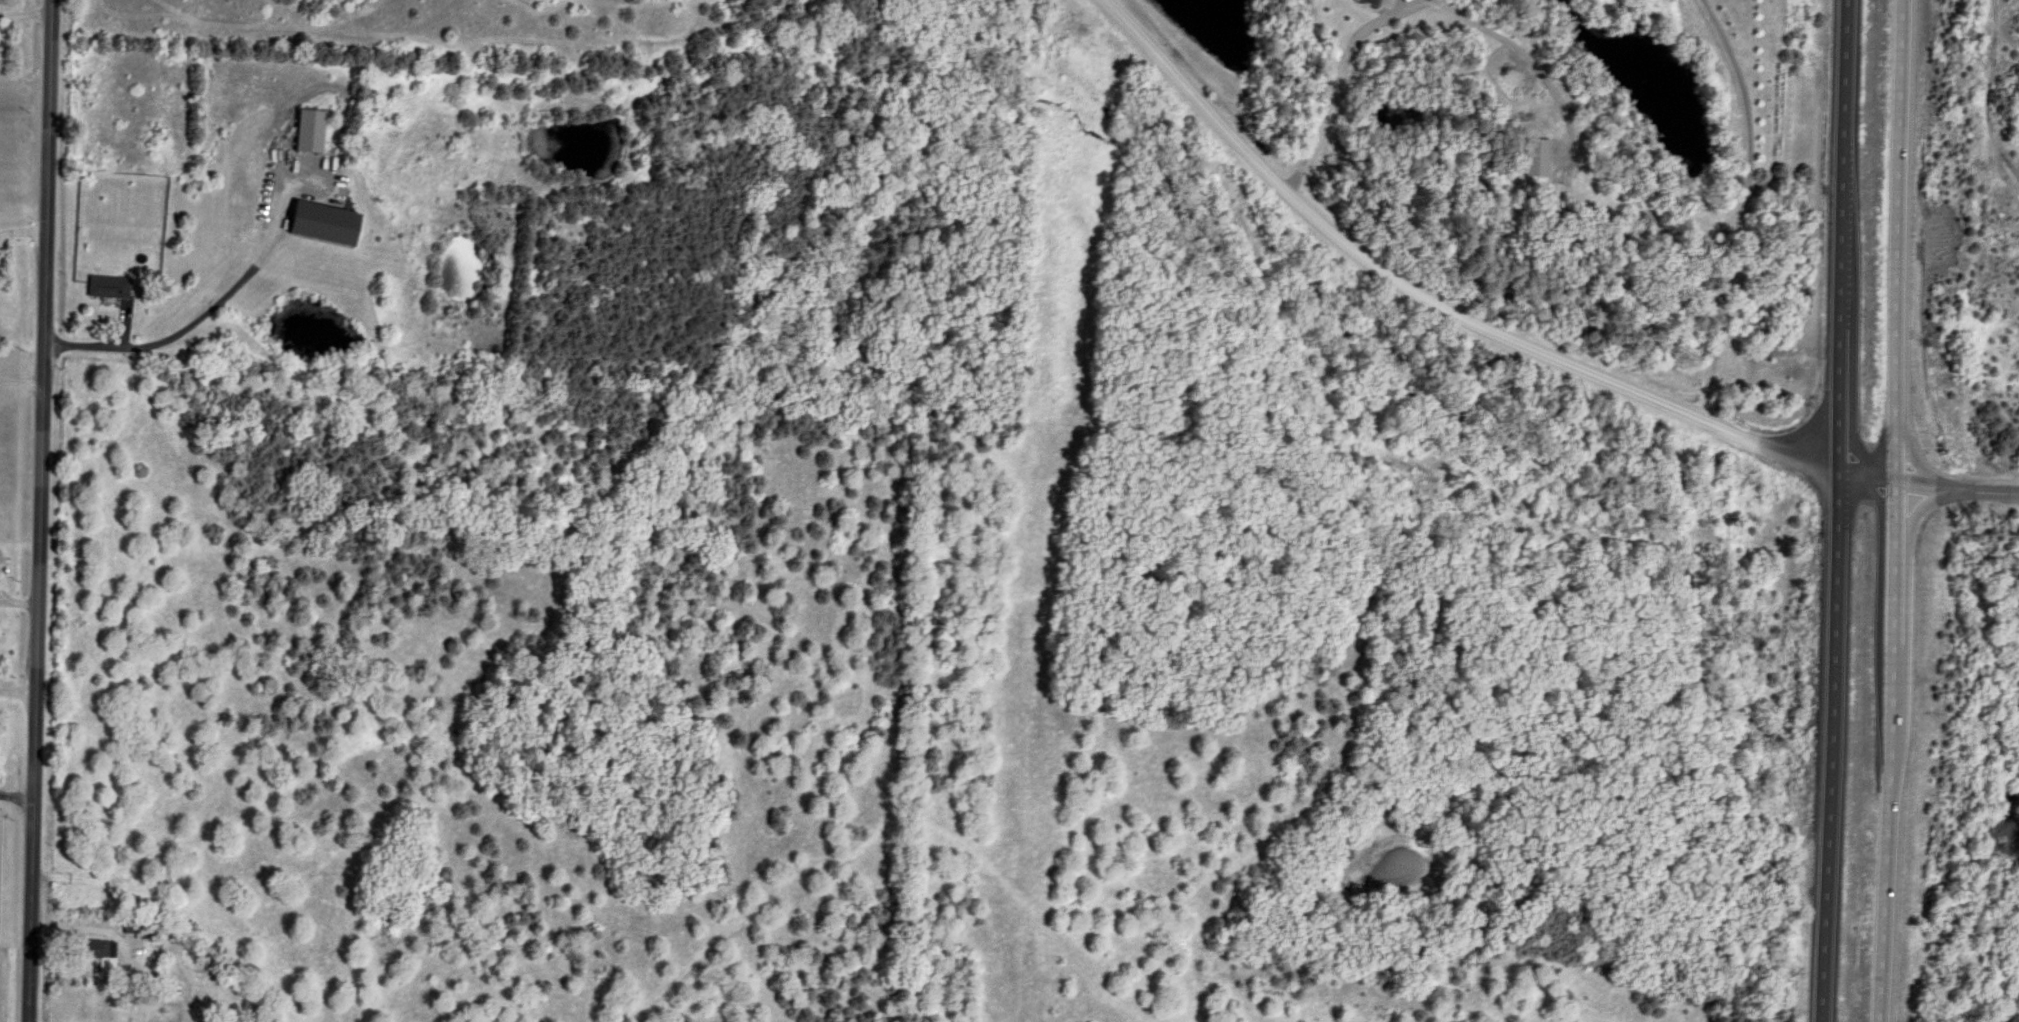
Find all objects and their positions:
road: (1334, 82)
road: (1736, 207)
building: (318, 224)
road: (20, 230)
park: (1987, 242)
building: (104, 287)
road: (198, 314)
road: (1458, 316)
road: (19, 379)
road: (1964, 484)
road: (37, 510)
road: (1851, 511)
road: (1910, 511)
road: (16, 794)
building: (97, 954)

